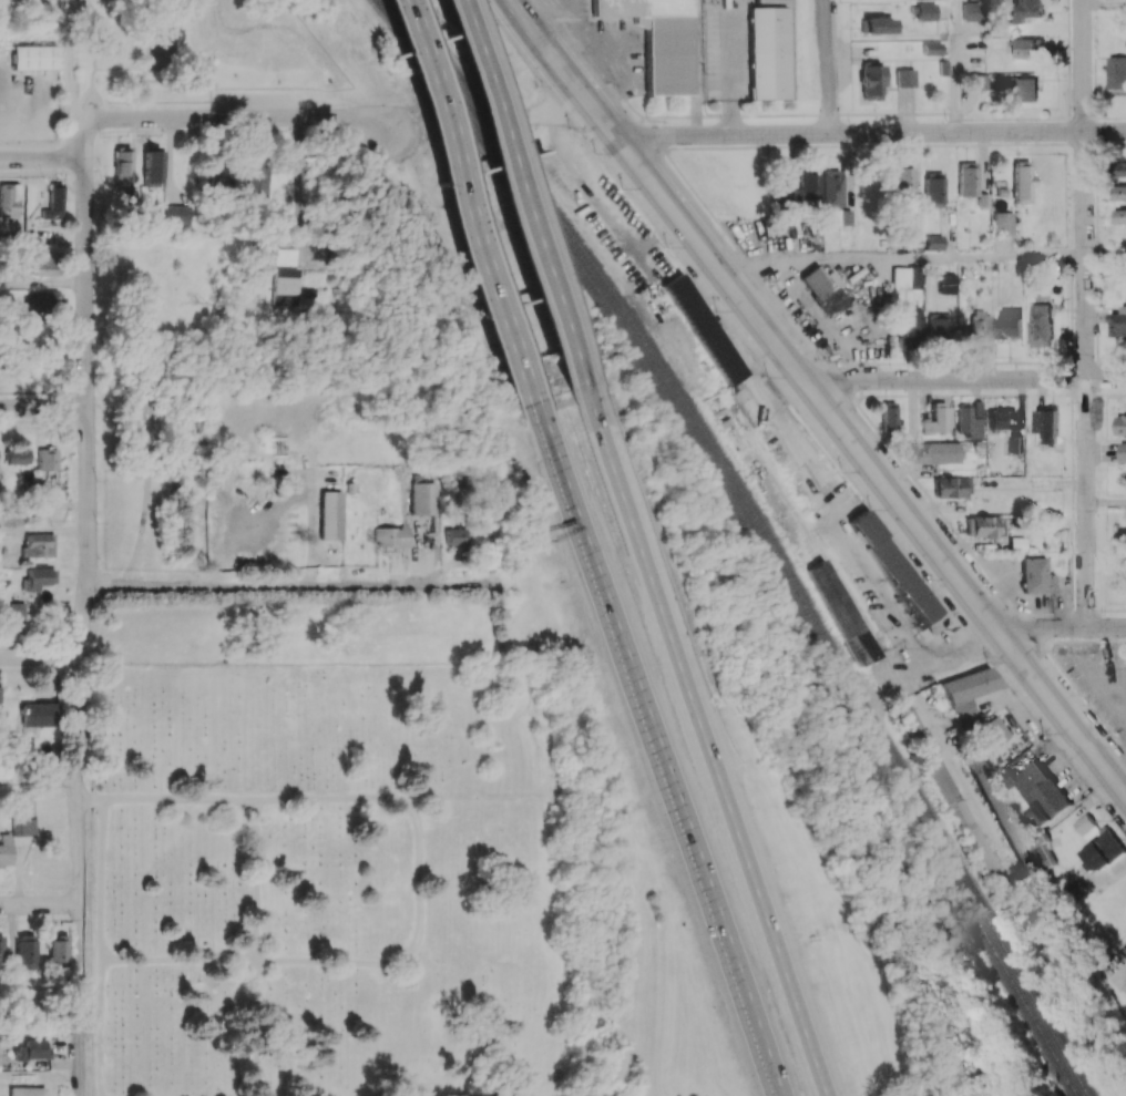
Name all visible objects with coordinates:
road: (1103, 2)
building: (1027, 10)
building: (927, 11)
building: (972, 11)
building: (879, 24)
building: (661, 42)
park: (162, 45)
park: (184, 48)
building: (1027, 48)
building: (932, 49)
building: (768, 52)
building: (34, 57)
road: (91, 59)
road: (831, 65)
road: (954, 65)
road: (120, 66)
building: (1116, 72)
building: (905, 78)
building: (870, 82)
building: (975, 82)
building: (1024, 88)
road: (555, 113)
road: (245, 116)
road: (870, 132)
road: (41, 157)
building: (122, 164)
building: (152, 167)
building: (1122, 168)
road: (299, 170)
building: (968, 178)
building: (903, 180)
building: (1022, 181)
building: (255, 182)
building: (808, 185)
building: (832, 187)
building: (934, 188)
building: (1122, 193)
road: (1018, 194)
building: (9, 199)
building: (54, 204)
road: (522, 204)
road: (470, 208)
building: (1119, 216)
building: (841, 217)
building: (1003, 223)
building: (933, 242)
road: (1104, 255)
road: (898, 257)
building: (45, 263)
building: (281, 272)
building: (907, 277)
road: (43, 284)
building: (946, 284)
building: (825, 290)
road: (1083, 314)
building: (1009, 322)
building: (1118, 322)
building: (1041, 324)
building: (980, 325)
building: (907, 326)
building: (939, 326)
building: (704, 328)
road: (970, 379)
road: (819, 398)
road: (43, 406)
building: (889, 416)
building: (1001, 419)
building: (939, 420)
building: (968, 422)
building: (1046, 424)
building: (1120, 424)
building: (1014, 443)
building: (932, 452)
building: (1123, 452)
building: (17, 455)
building: (47, 459)
building: (952, 486)
building: (423, 498)
road: (1105, 502)
building: (329, 514)
building: (982, 526)
railway: (754, 531)
railway: (766, 531)
road: (637, 532)
road: (44, 533)
building: (457, 533)
building: (390, 536)
building: (39, 545)
building: (893, 567)
building: (1036, 576)
road: (262, 585)
road: (84, 607)
building: (841, 613)
building: (18, 617)
road: (1064, 627)
road: (41, 655)
road: (942, 659)
building: (969, 695)
building: (0, 696)
building: (39, 714)
road: (653, 729)
building: (1000, 730)
road: (1114, 766)
road: (38, 781)
building: (1036, 791)
building: (1011, 823)
building: (1084, 823)
building: (24, 827)
building: (6, 850)
building: (1102, 851)
road: (420, 865)
road: (753, 875)
road: (39, 903)
building: (2, 948)
road: (250, 948)
building: (27, 949)
building: (59, 949)
road: (101, 949)
building: (1125, 985)
road: (40, 1028)
building: (33, 1048)
road: (766, 1068)
building: (27, 1090)

